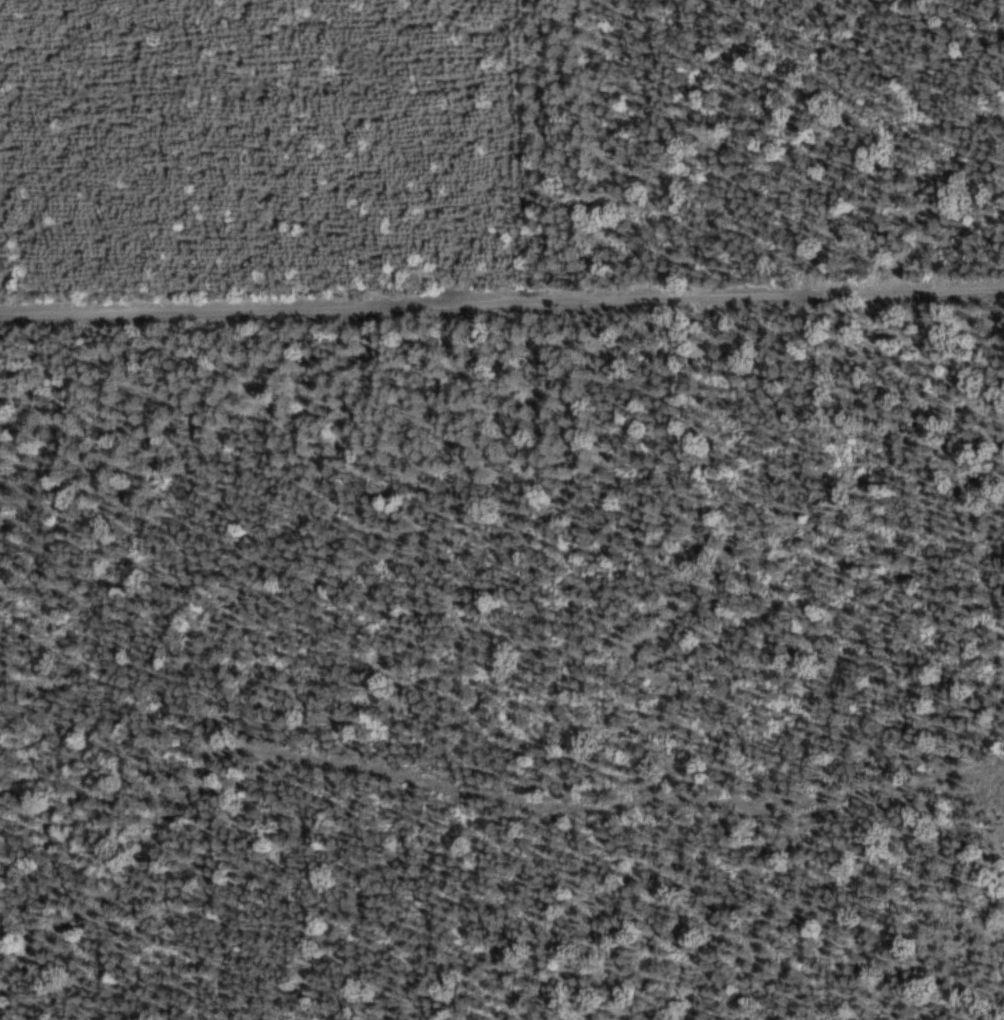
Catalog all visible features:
road: (501, 298)

